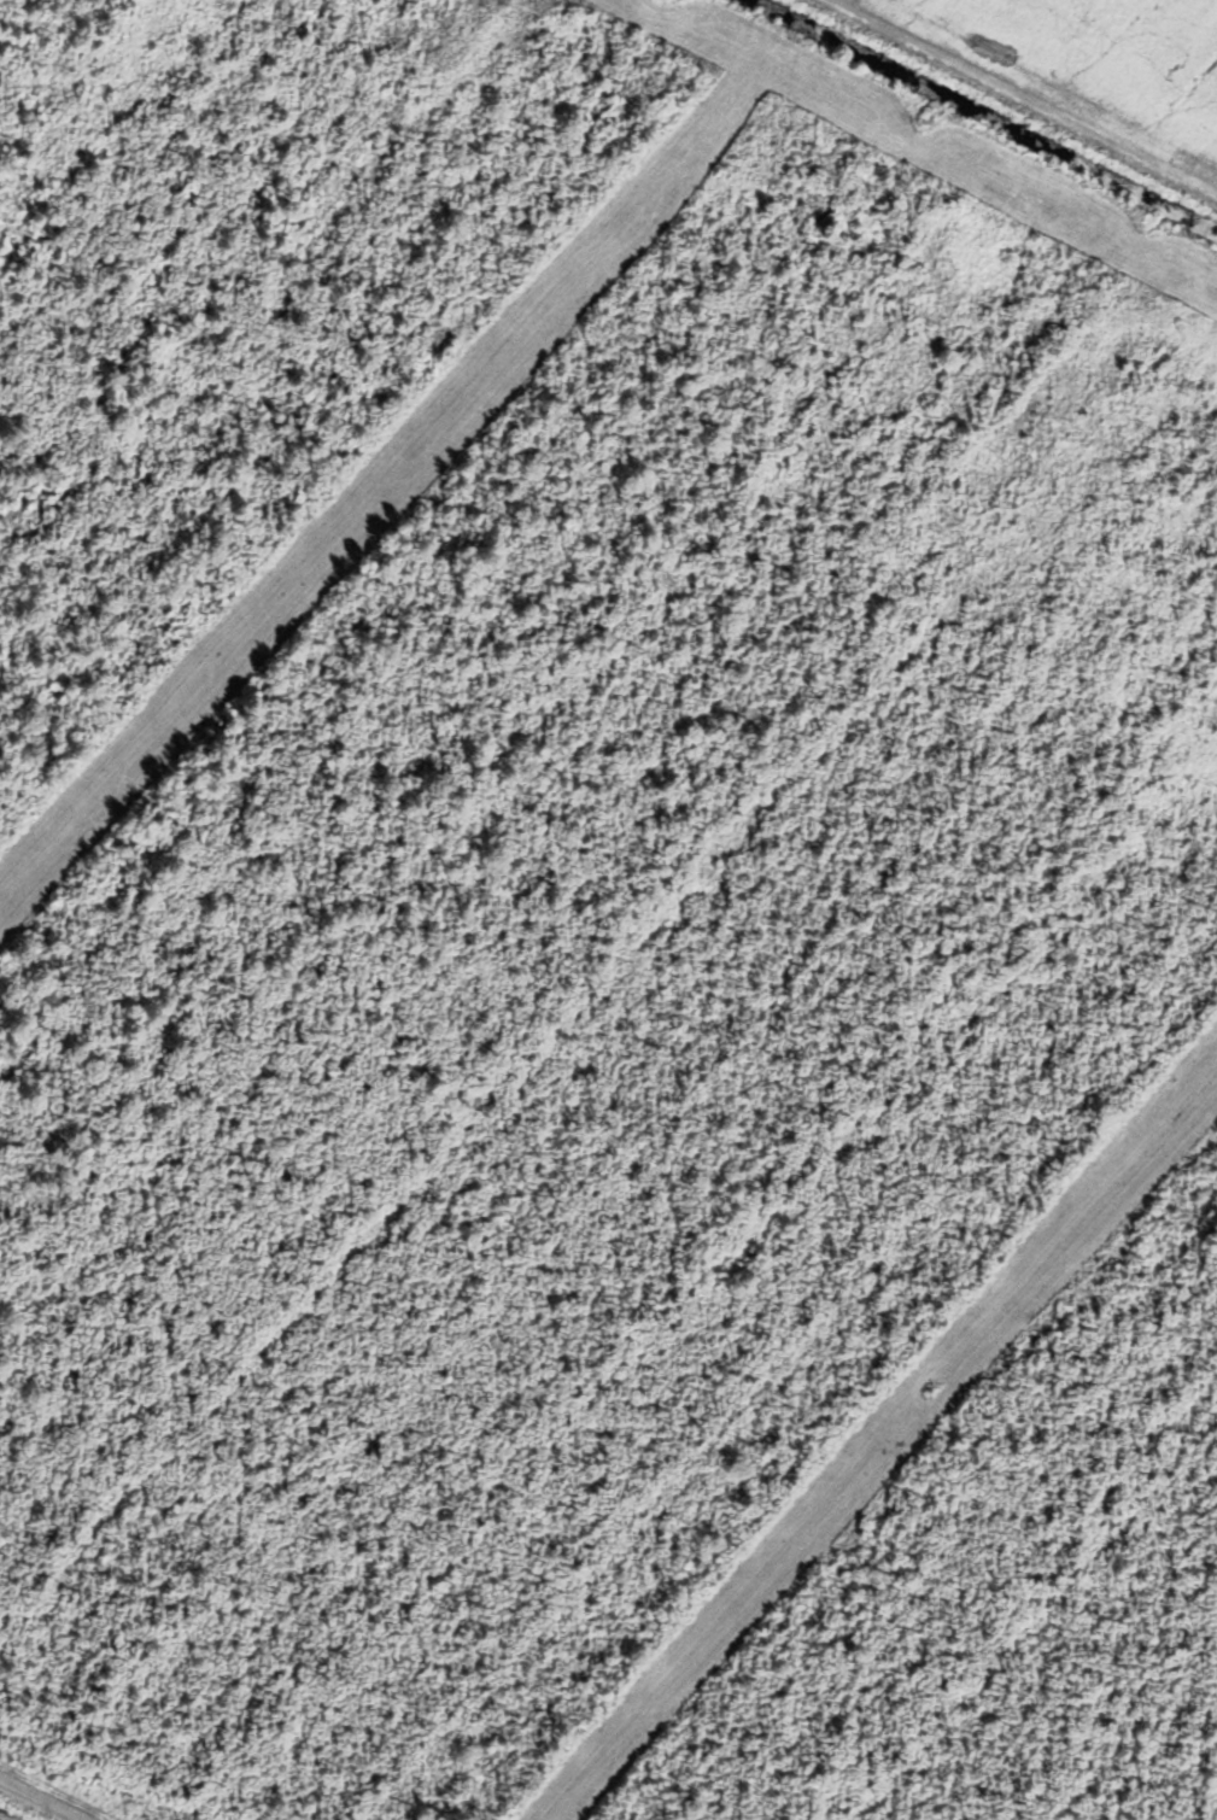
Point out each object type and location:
crop: (1096, 60)
road: (1014, 101)
road: (42, 1797)

